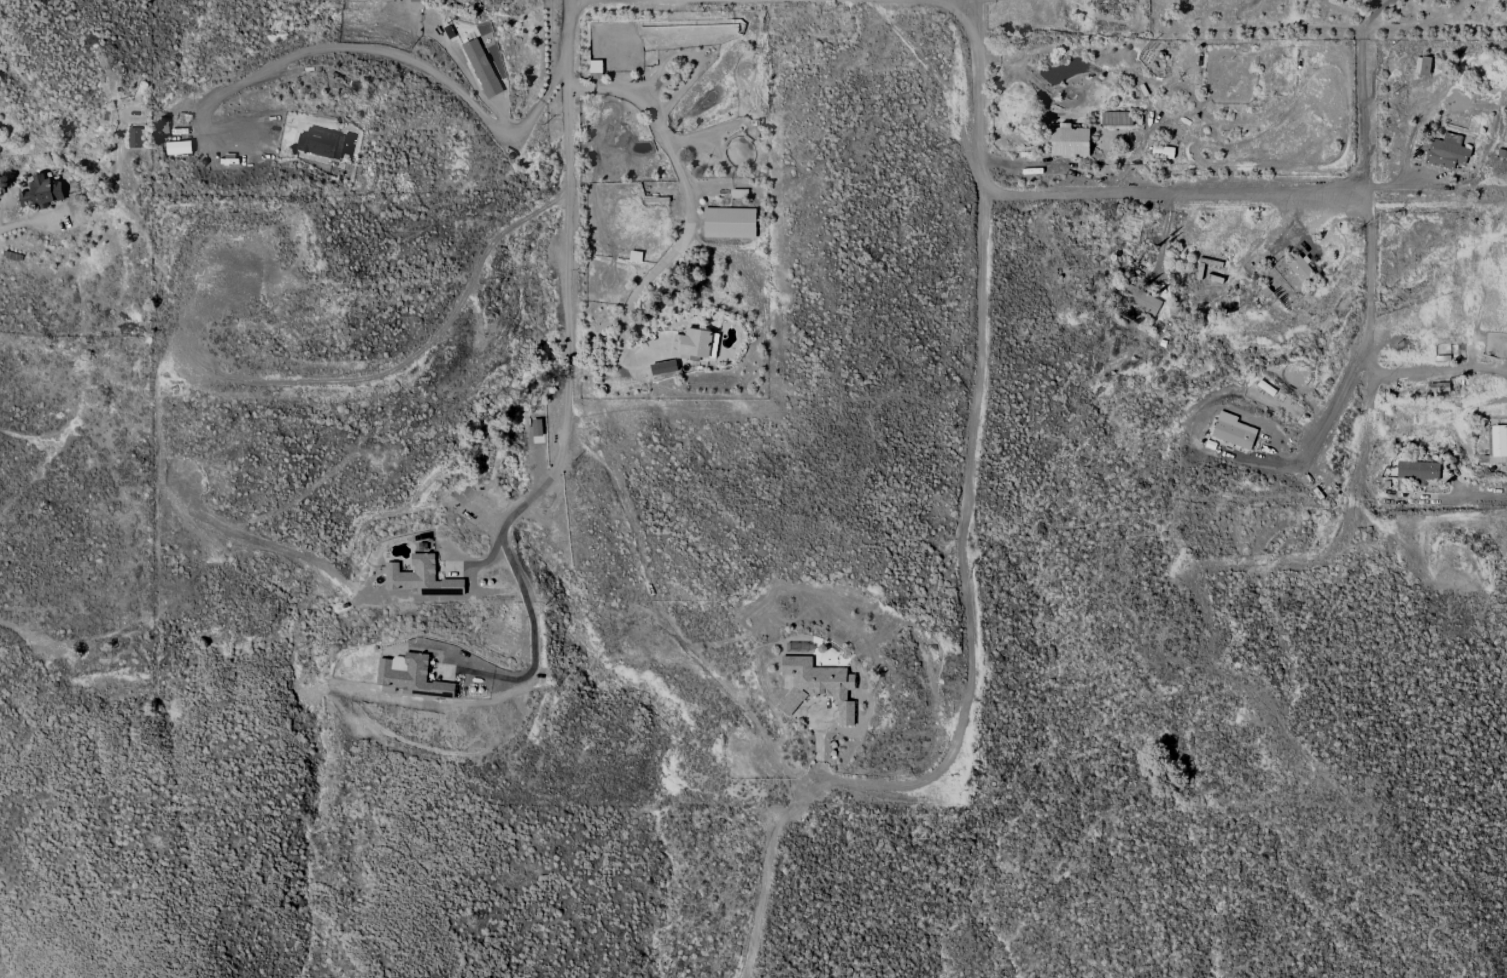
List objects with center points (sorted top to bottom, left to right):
building: (1506, 2)
road: (383, 50)
building: (1422, 65)
building: (481, 67)
road: (1364, 90)
building: (1116, 118)
building: (136, 137)
building: (1069, 141)
building: (321, 142)
building: (178, 147)
building: (1162, 151)
building: (1447, 151)
road: (1425, 185)
building: (42, 191)
road: (1173, 194)
road: (690, 196)
road: (569, 208)
road: (15, 220)
building: (729, 222)
road: (1163, 233)
building: (1300, 268)
road: (1366, 280)
building: (1141, 299)
building: (694, 343)
building: (663, 367)
road: (1426, 369)
road: (978, 381)
road: (1326, 410)
building: (1232, 430)
building: (1495, 445)
building: (1417, 470)
road: (1374, 494)
road: (528, 498)
building: (421, 577)
road: (533, 633)
building: (410, 676)
building: (818, 684)
road: (819, 746)
road: (788, 808)

